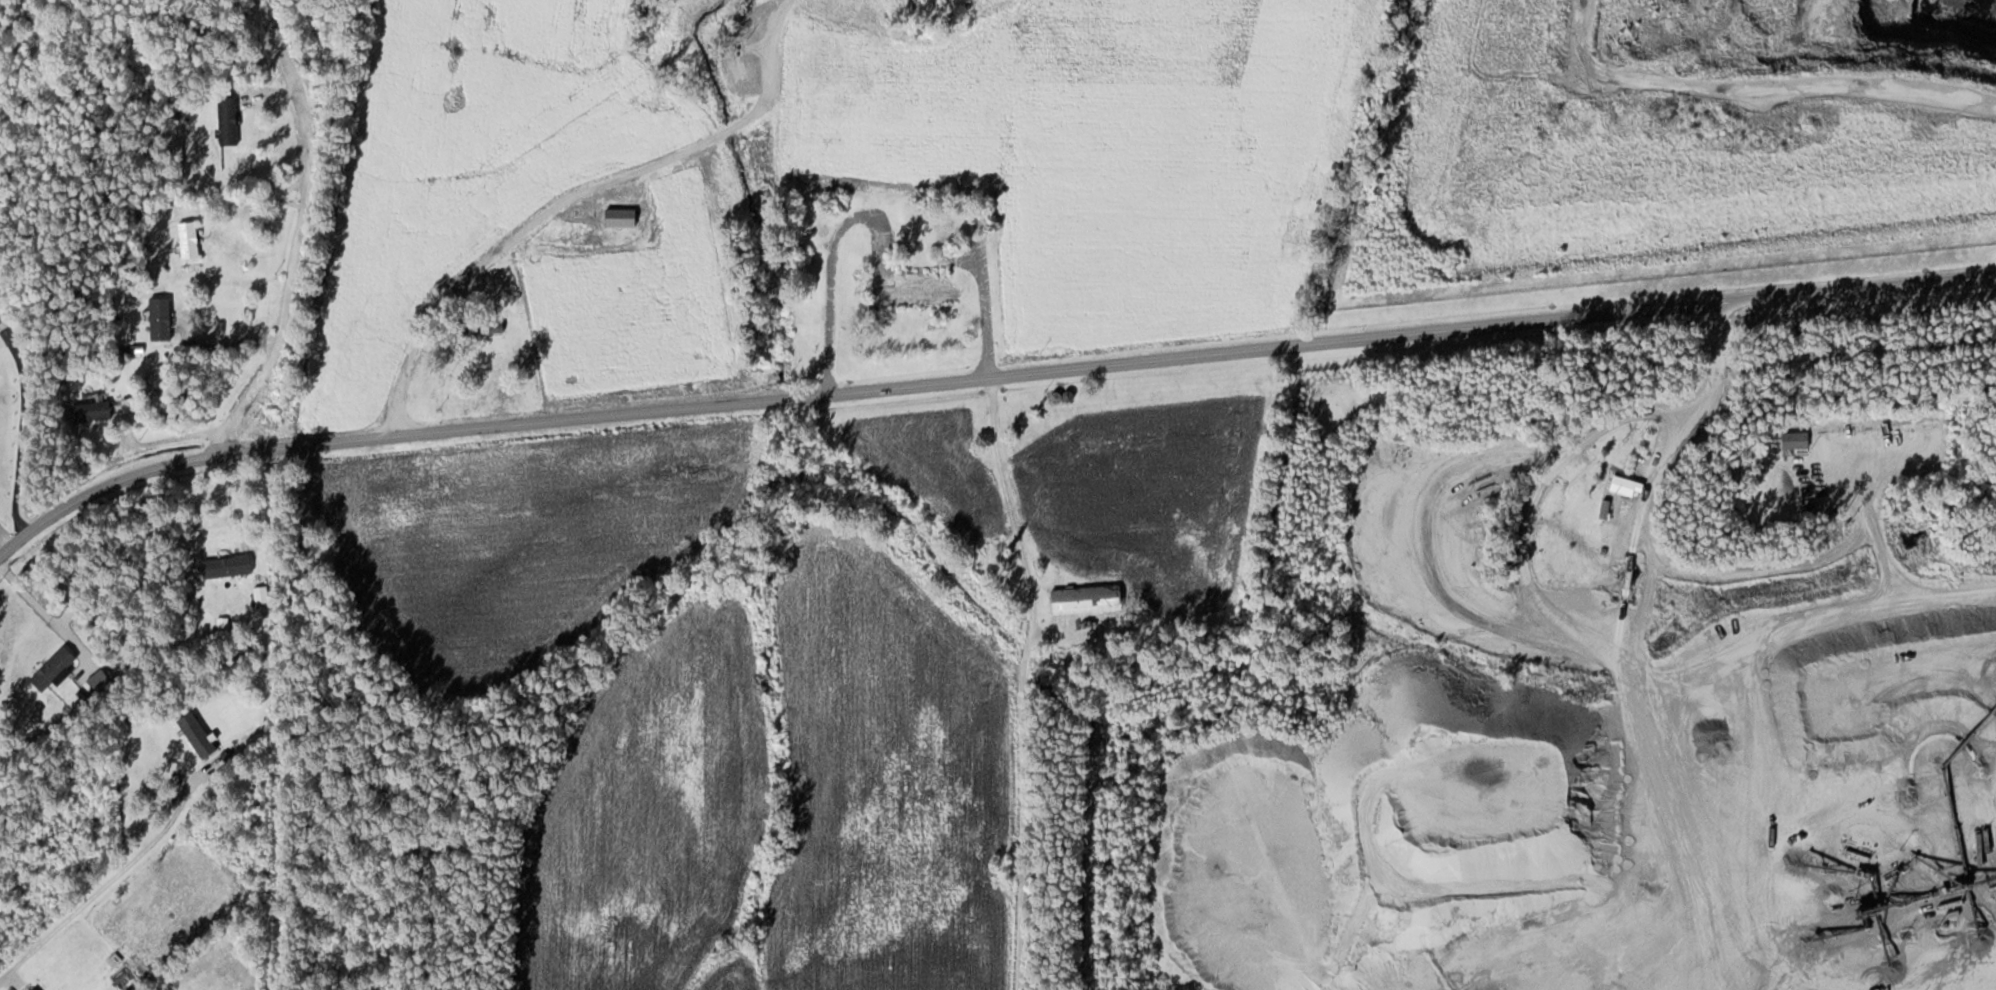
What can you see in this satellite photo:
building: (230, 118)
quarry: (1729, 132)
building: (622, 217)
road: (301, 232)
building: (191, 240)
building: (919, 291)
building: (163, 318)
road: (985, 376)
building: (159, 377)
building: (93, 410)
building: (1799, 439)
crop: (536, 537)
building: (230, 565)
building: (1089, 598)
building: (55, 667)
building: (200, 734)
quarry: (1616, 767)
crop: (787, 786)
road: (104, 882)
building: (37, 988)

